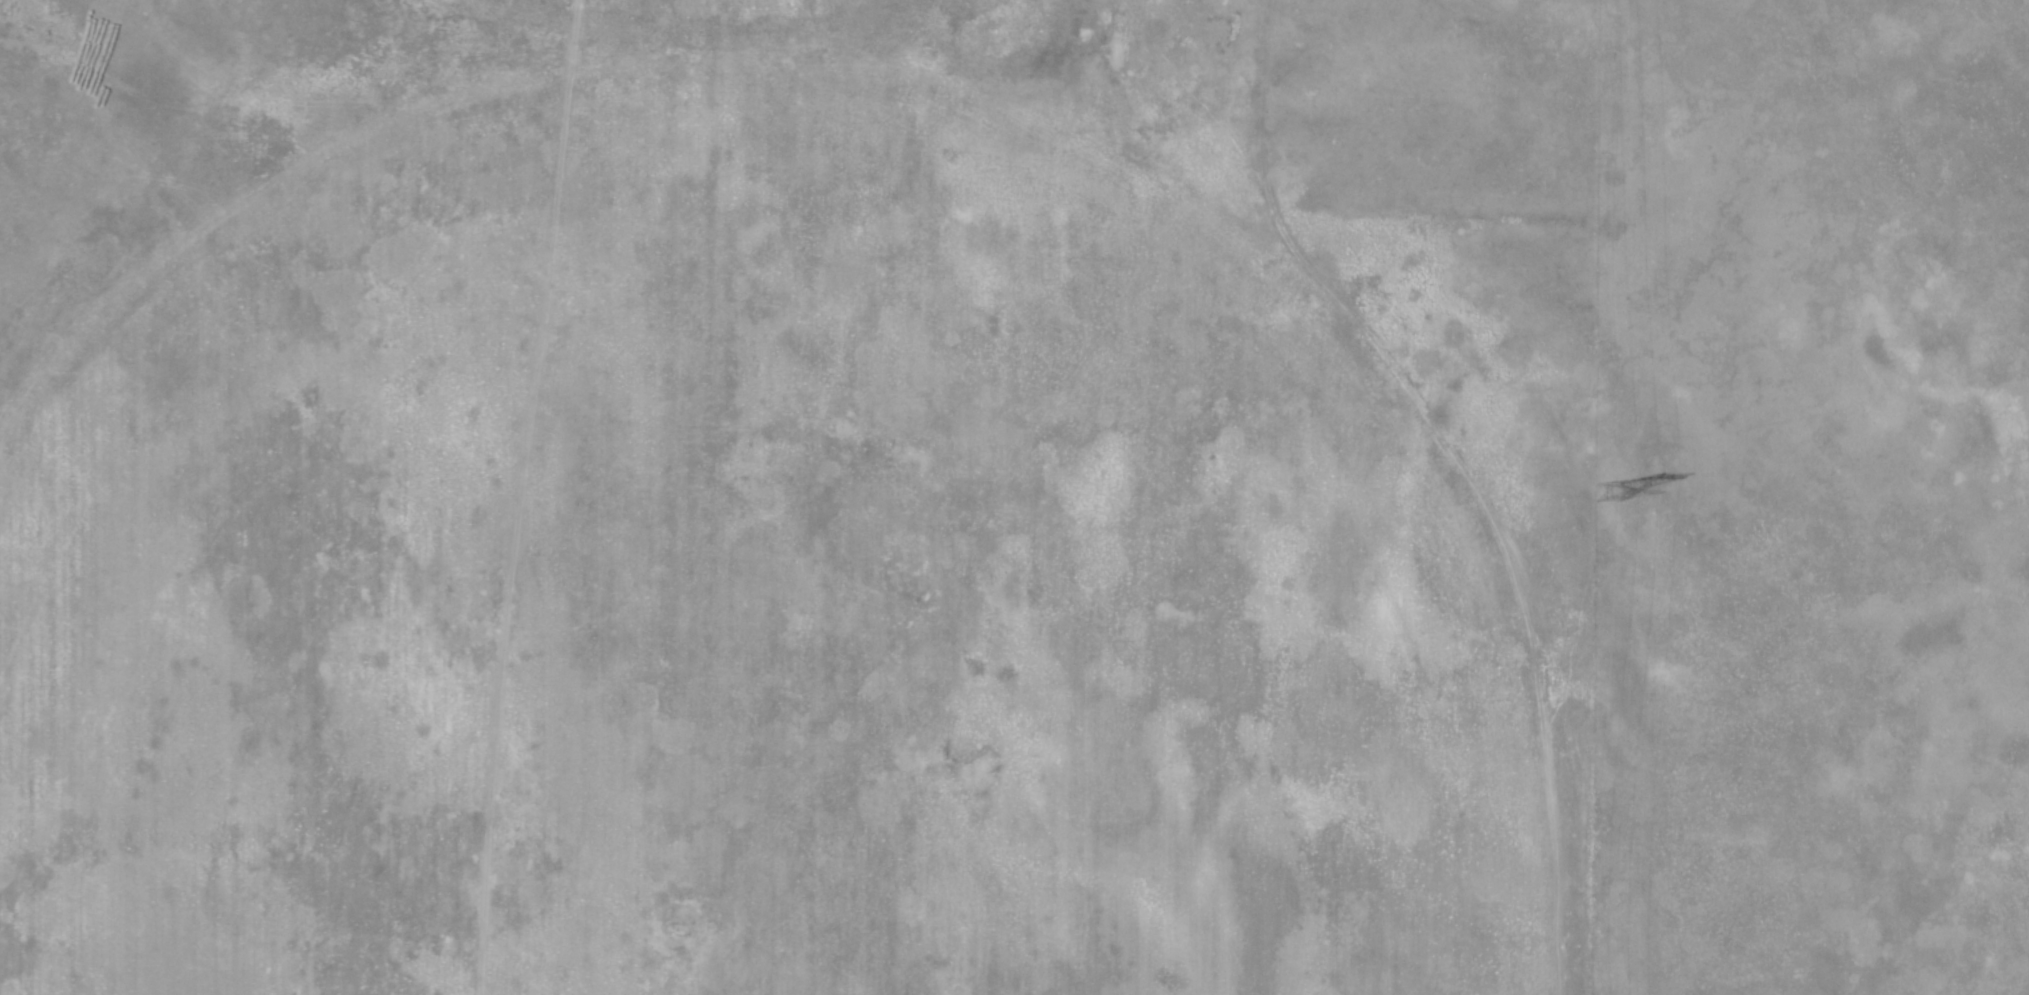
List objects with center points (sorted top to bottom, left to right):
power tower: (1606, 492)

